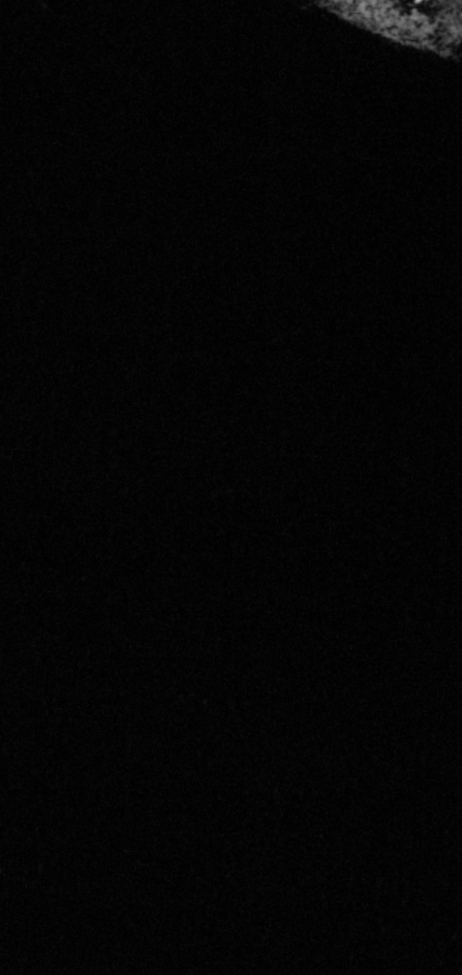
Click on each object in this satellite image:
river: (229, 692)

